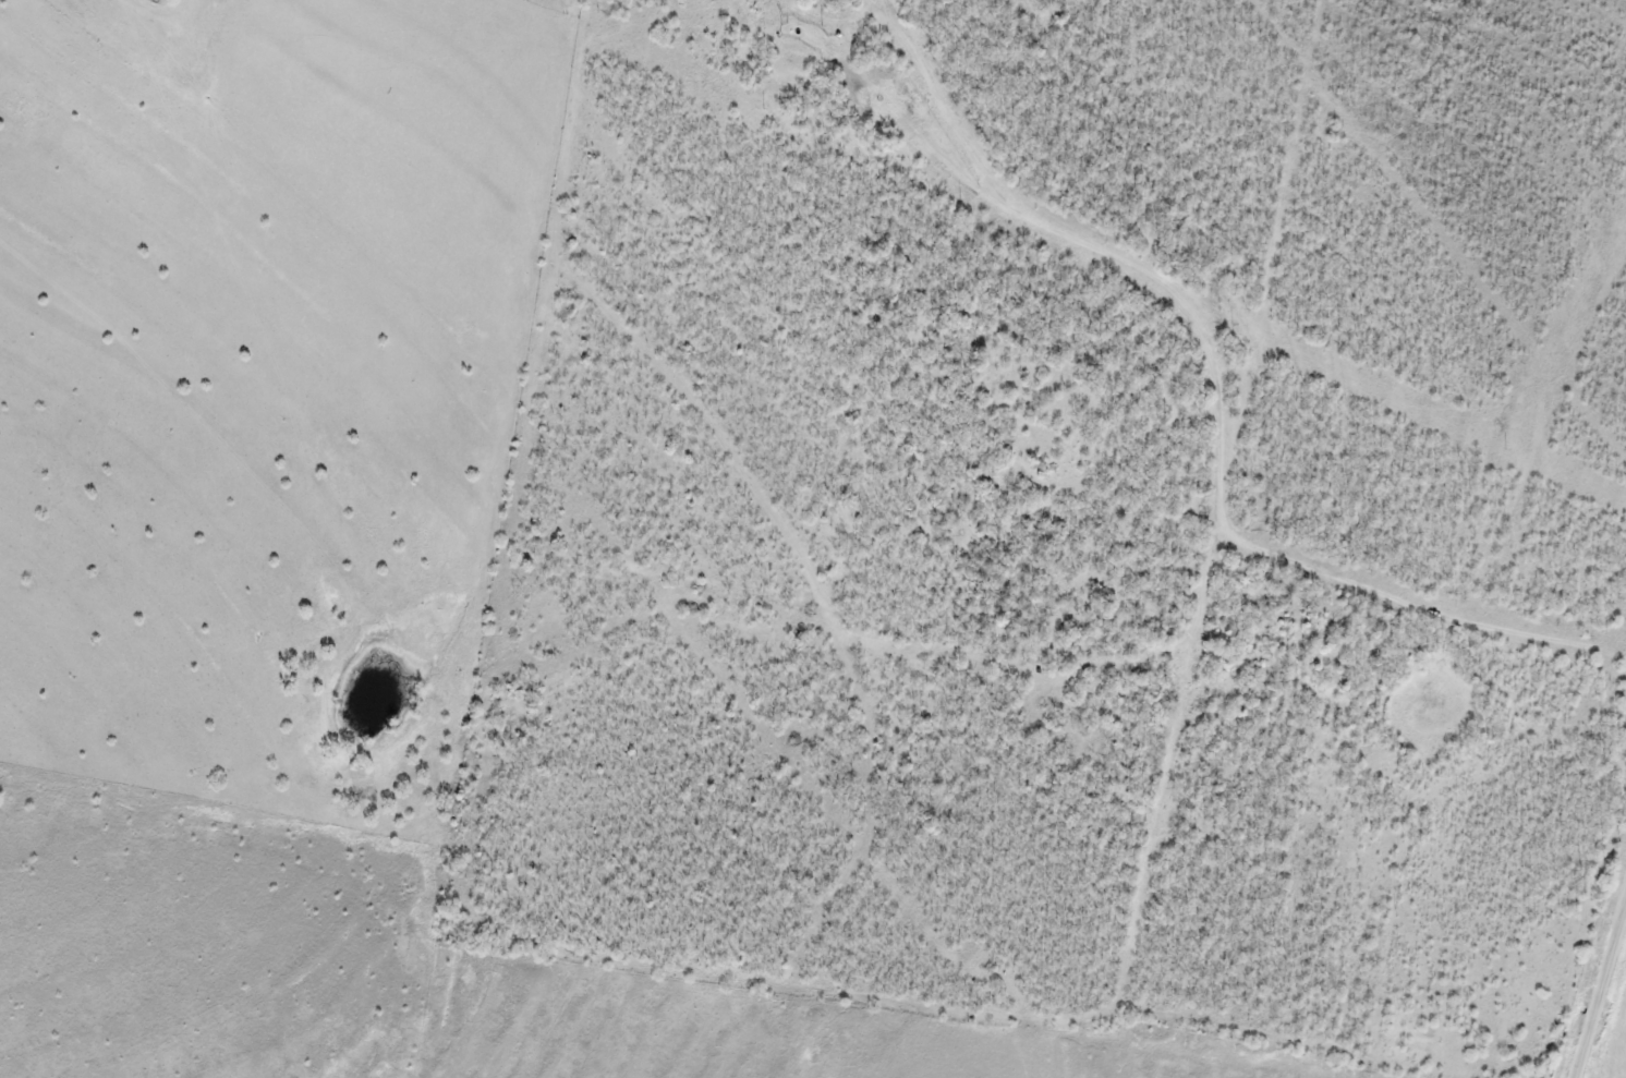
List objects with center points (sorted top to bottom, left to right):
road: (1602, 996)

